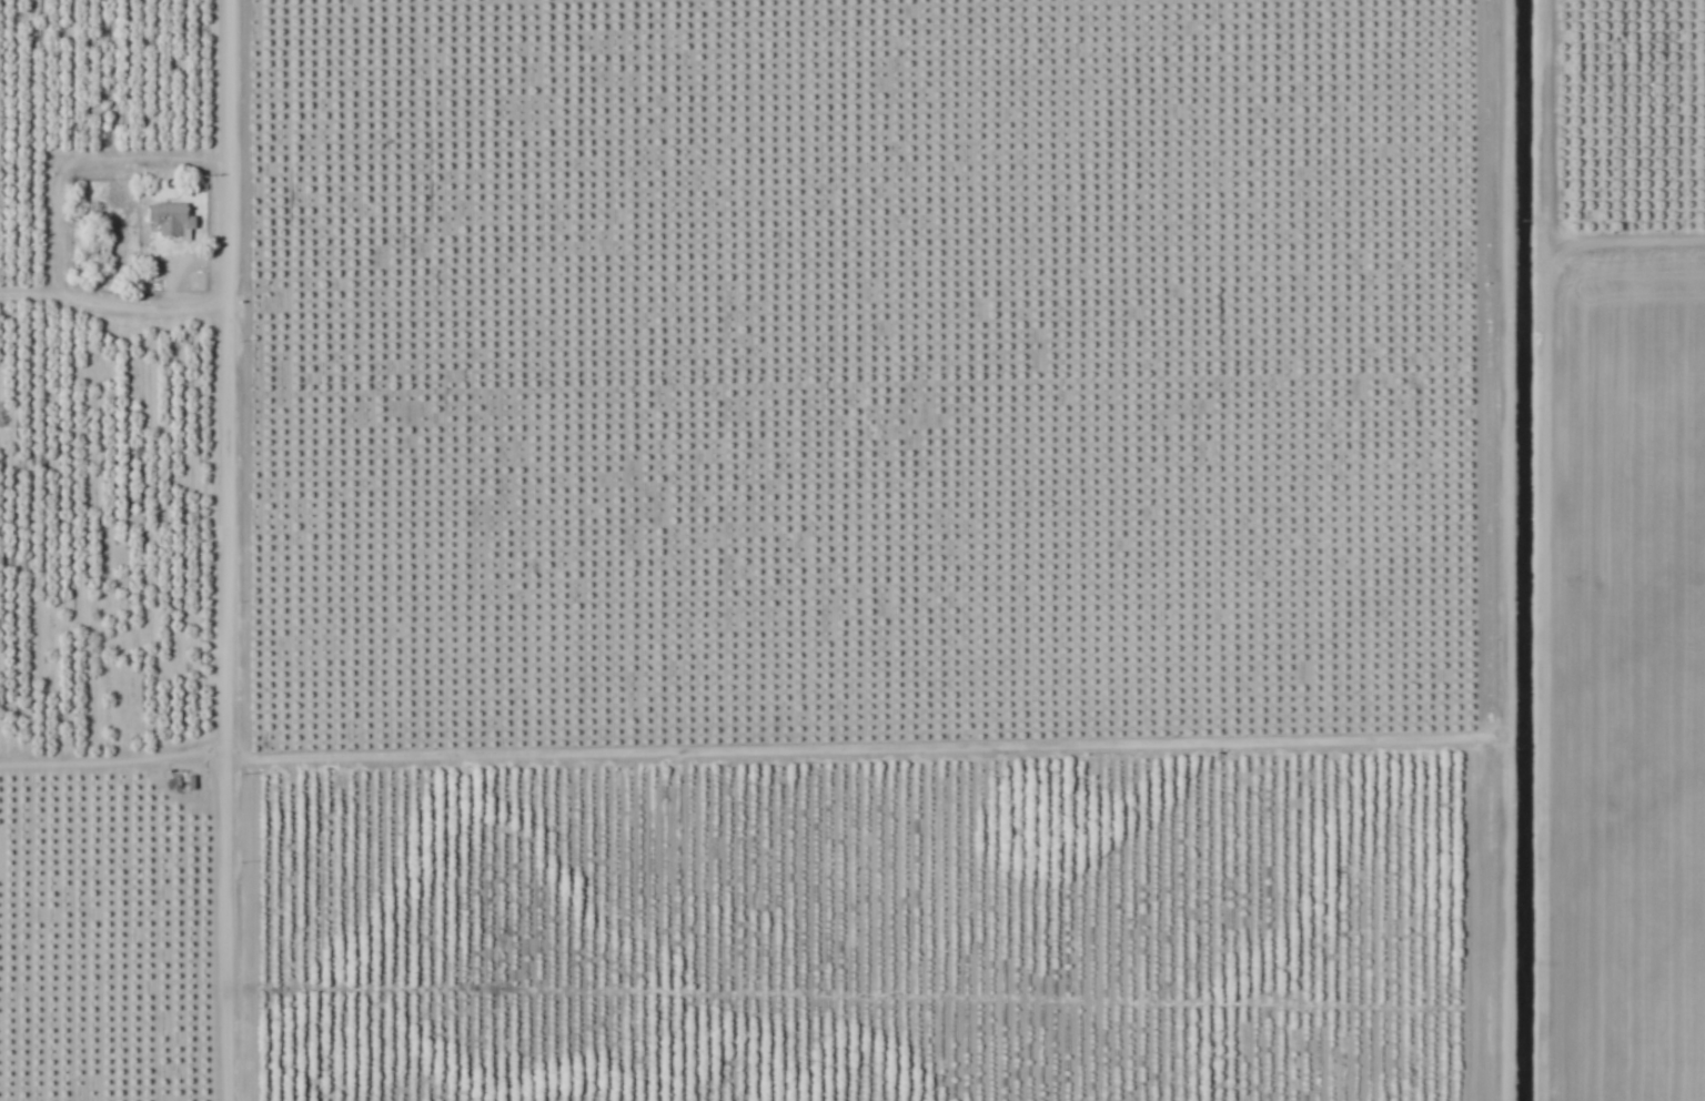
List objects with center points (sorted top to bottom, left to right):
building: (169, 219)
road: (229, 549)
road: (1533, 550)
road: (115, 766)

